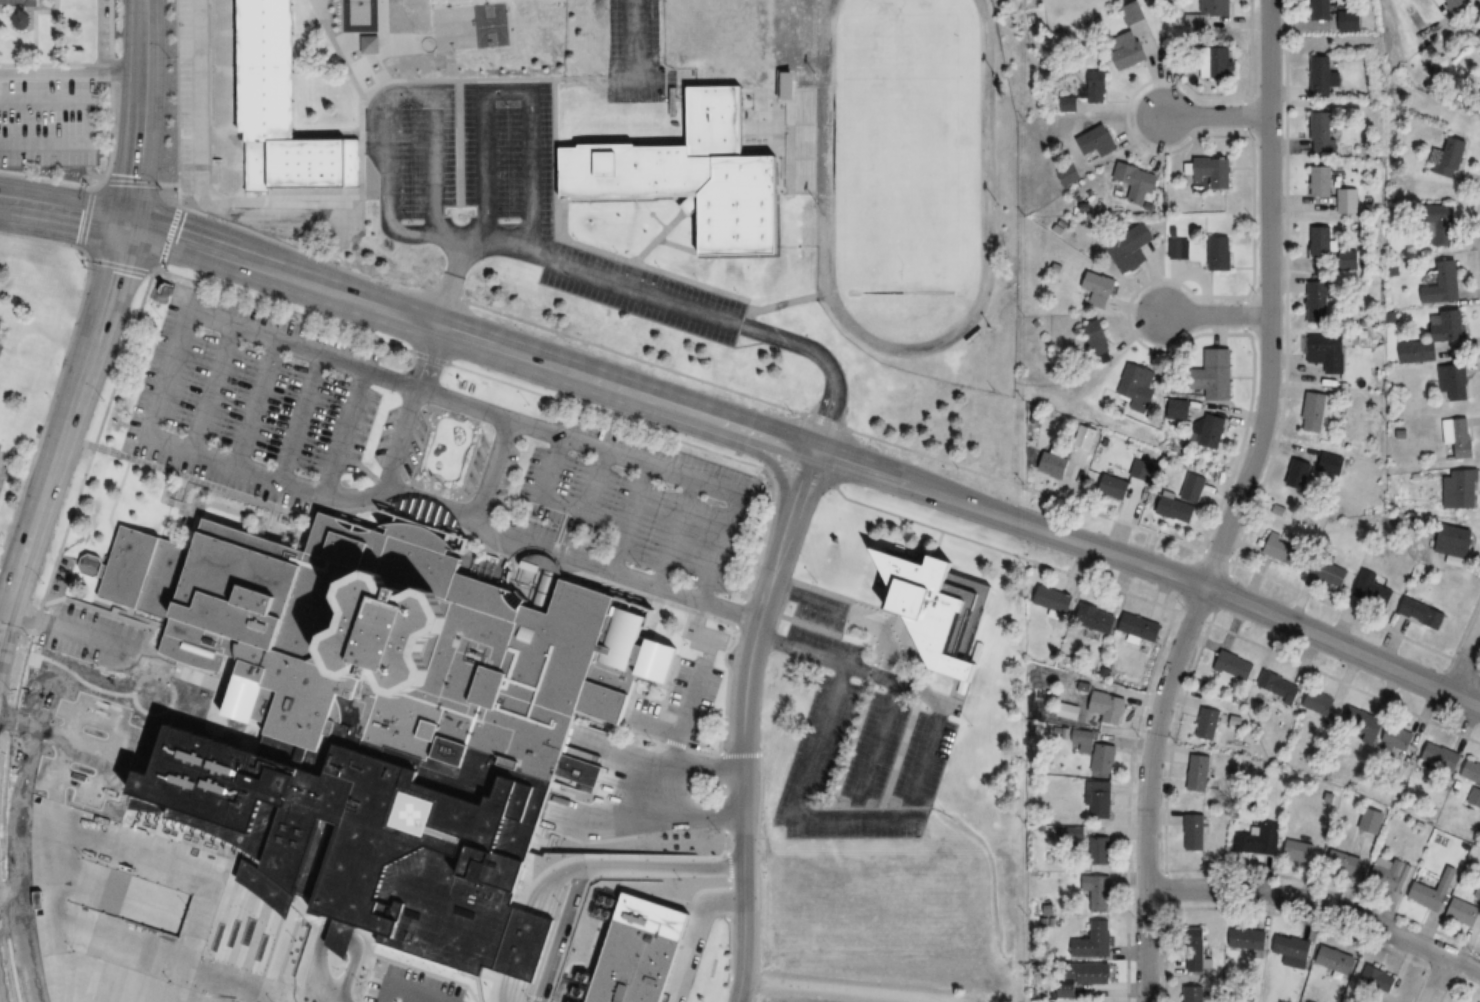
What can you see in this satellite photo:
building: (1453, 4)
building: (1322, 9)
building: (23, 10)
building: (1134, 13)
building: (1206, 13)
building: (1351, 21)
building: (1479, 38)
road: (632, 43)
parking lot: (634, 52)
building: (1479, 53)
building: (1131, 55)
building: (1217, 63)
road: (70, 75)
building: (1324, 77)
building: (1096, 86)
road: (517, 91)
road: (390, 94)
building: (280, 105)
parking lot: (51, 110)
road: (140, 111)
road: (1243, 113)
road: (1215, 119)
road: (87, 121)
road: (177, 133)
building: (1321, 133)
park: (898, 142)
building: (1095, 142)
building: (1449, 157)
building: (1215, 172)
building: (700, 173)
building: (1067, 173)
road: (198, 177)
building: (1136, 181)
building: (1321, 181)
road: (139, 182)
road: (93, 184)
parking lot: (528, 199)
building: (1348, 200)
road: (64, 209)
road: (85, 217)
traffic signals: (128, 223)
building: (1442, 224)
road: (448, 239)
building: (1321, 241)
building: (1132, 248)
building: (1219, 253)
building: (1349, 259)
road: (119, 264)
road: (281, 274)
building: (1443, 284)
building: (1098, 288)
road: (649, 291)
building: (1319, 301)
road: (284, 308)
road: (487, 308)
road: (1243, 314)
road: (1215, 315)
road: (1132, 330)
building: (1098, 338)
building: (1435, 338)
building: (1329, 355)
road: (430, 357)
road: (61, 362)
building: (1217, 374)
building: (1455, 383)
road: (162, 386)
building: (1140, 387)
road: (625, 389)
road: (211, 391)
road: (256, 405)
building: (1181, 409)
building: (1316, 410)
road: (606, 414)
road: (299, 420)
road: (508, 421)
road: (825, 421)
road: (65, 422)
building: (1213, 432)
road: (343, 433)
road: (498, 434)
building: (1083, 437)
building: (1459, 437)
road: (792, 438)
road: (96, 441)
parking lot: (430, 453)
building: (1332, 464)
building: (1054, 465)
road: (800, 470)
building: (1298, 474)
road: (691, 479)
road: (595, 481)
building: (1126, 483)
building: (1462, 489)
road: (115, 494)
road: (638, 495)
road: (551, 499)
building: (1183, 500)
road: (1233, 505)
road: (675, 532)
road: (492, 534)
building: (1456, 541)
building: (1284, 551)
road: (1151, 569)
building: (1331, 574)
building: (1374, 588)
building: (1055, 600)
road: (2, 607)
road: (93, 608)
building: (933, 609)
building: (1423, 613)
building: (1096, 617)
building: (1141, 626)
road: (1168, 626)
parking lot: (93, 635)
building: (391, 637)
road: (12, 646)
road: (115, 651)
road: (1462, 655)
building: (1234, 666)
road: (698, 675)
road: (76, 676)
building: (1278, 687)
building: (1319, 702)
road: (73, 705)
building: (1107, 708)
road: (129, 717)
road: (12, 718)
road: (745, 722)
road: (882, 722)
building: (1208, 724)
building: (1361, 724)
parking lot: (62, 732)
building: (1396, 740)
parking lot: (862, 748)
road: (5, 754)
road: (57, 756)
building: (1440, 757)
building: (1104, 758)
road: (289, 764)
road: (658, 765)
building: (1199, 773)
building: (1473, 782)
building: (1100, 799)
road: (274, 800)
building: (159, 804)
road: (793, 807)
road: (639, 810)
helipad: (408, 812)
building: (1371, 821)
building: (1195, 832)
building: (1075, 834)
building: (1260, 840)
road: (260, 842)
road: (156, 850)
building: (1100, 850)
building: (1298, 850)
road: (623, 857)
building: (1343, 863)
building: (1389, 872)
building: (1434, 891)
building: (1478, 892)
road: (437, 893)
building: (1097, 893)
road: (600, 894)
road: (504, 898)
road: (708, 902)
road: (1319, 906)
road: (264, 912)
road: (573, 912)
building: (1464, 912)
parking lot: (339, 916)
building: (1247, 940)
road: (154, 941)
building: (1094, 941)
road: (46, 947)
road: (424, 949)
building: (1197, 949)
building: (1292, 949)
road: (303, 957)
building: (1335, 960)
building: (640, 965)
building: (1090, 973)
road: (371, 978)
building: (1379, 978)
road: (1434, 981)
road: (102, 983)
building: (1193, 993)
road: (528, 994)
road: (301, 998)

